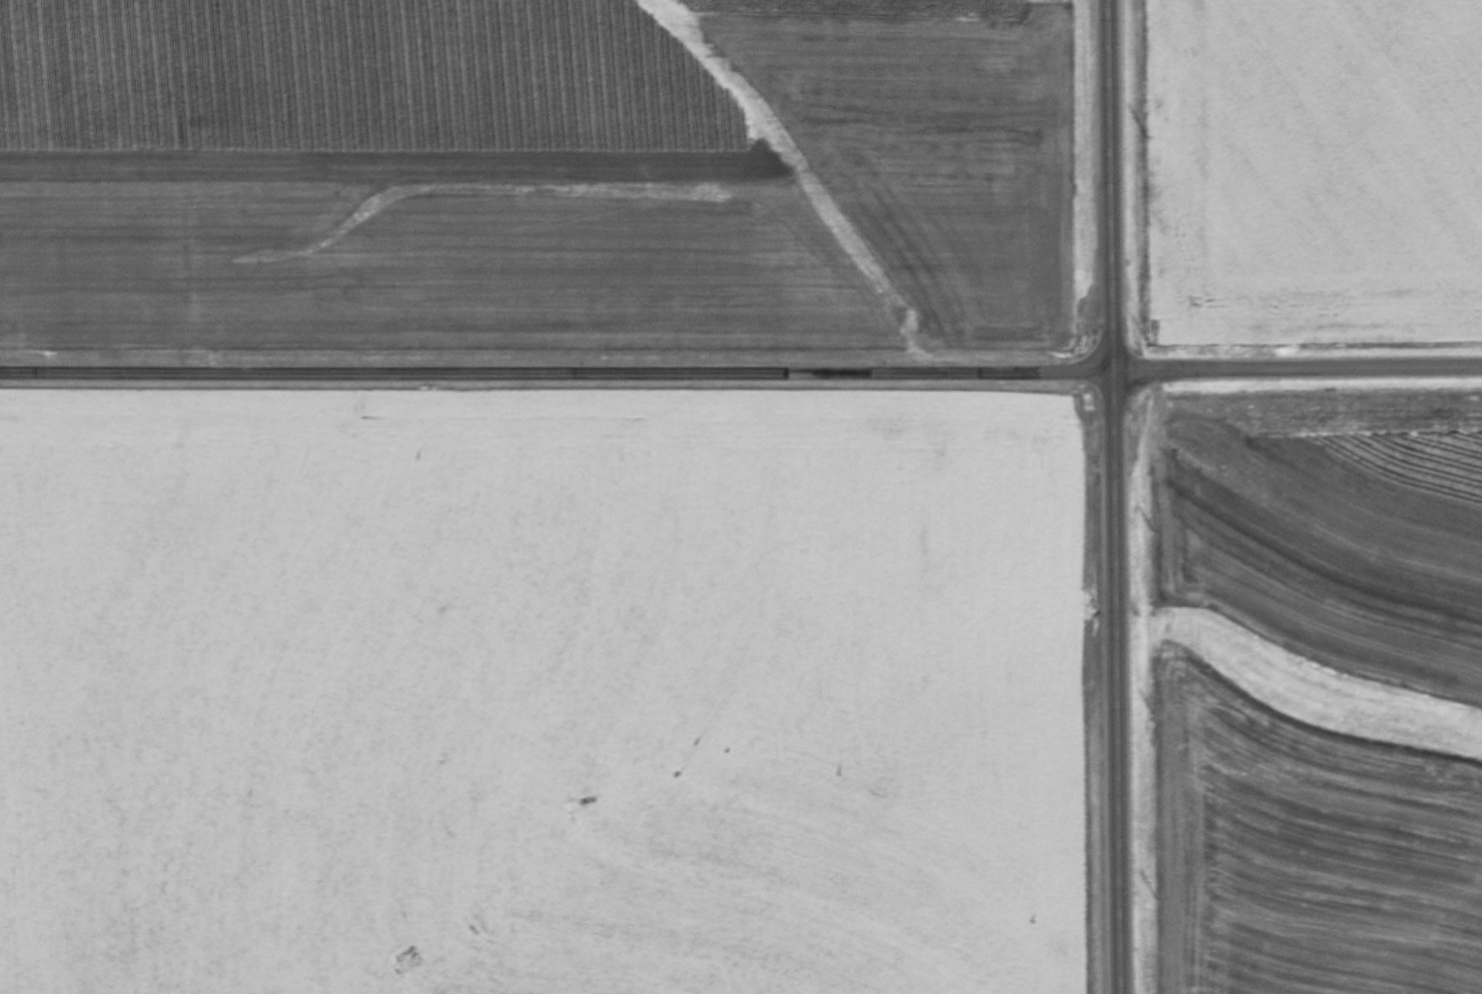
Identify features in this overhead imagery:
road: (557, 372)
road: (1298, 374)
road: (1116, 496)

